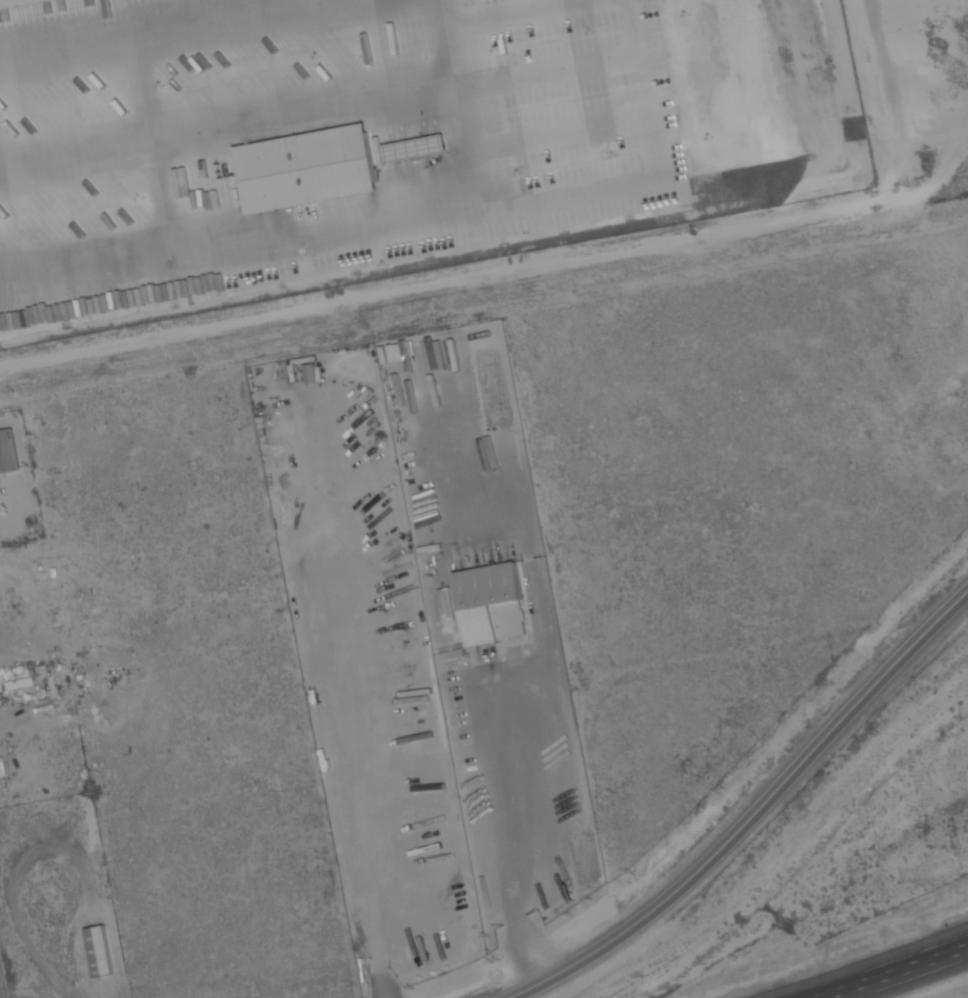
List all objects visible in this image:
building: (13, 2)
building: (305, 166)
building: (8, 453)
building: (487, 587)
building: (509, 621)
building: (479, 628)
building: (17, 682)
road: (757, 807)
road: (518, 835)
building: (98, 951)
road: (892, 971)
road: (106, 990)
road: (524, 996)

